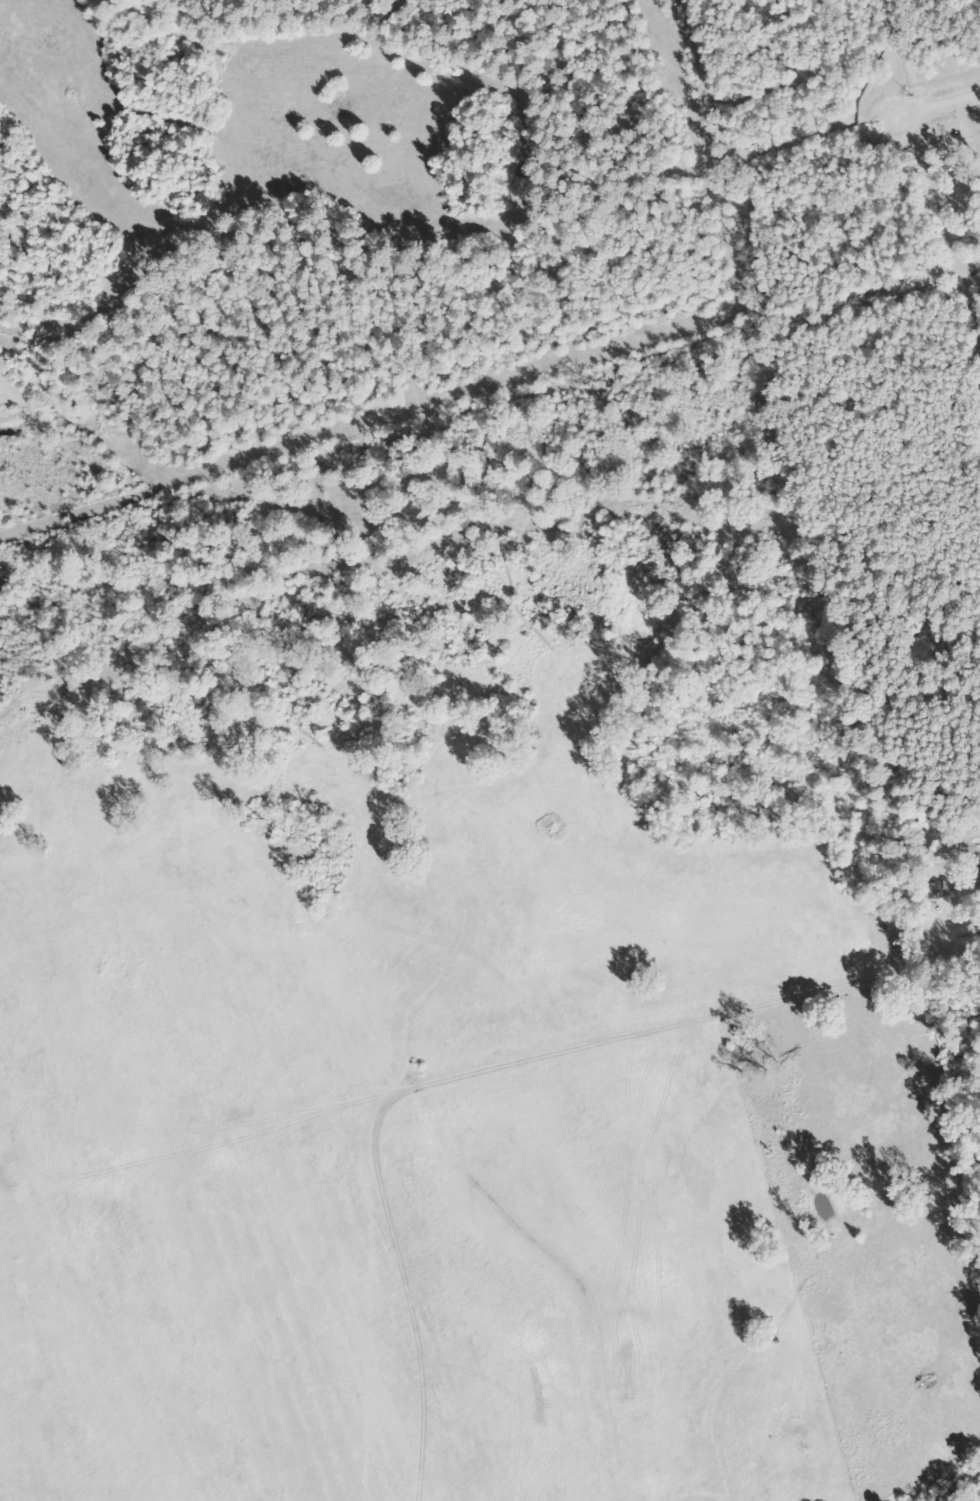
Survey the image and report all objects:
building: (975, 879)
road: (968, 916)

